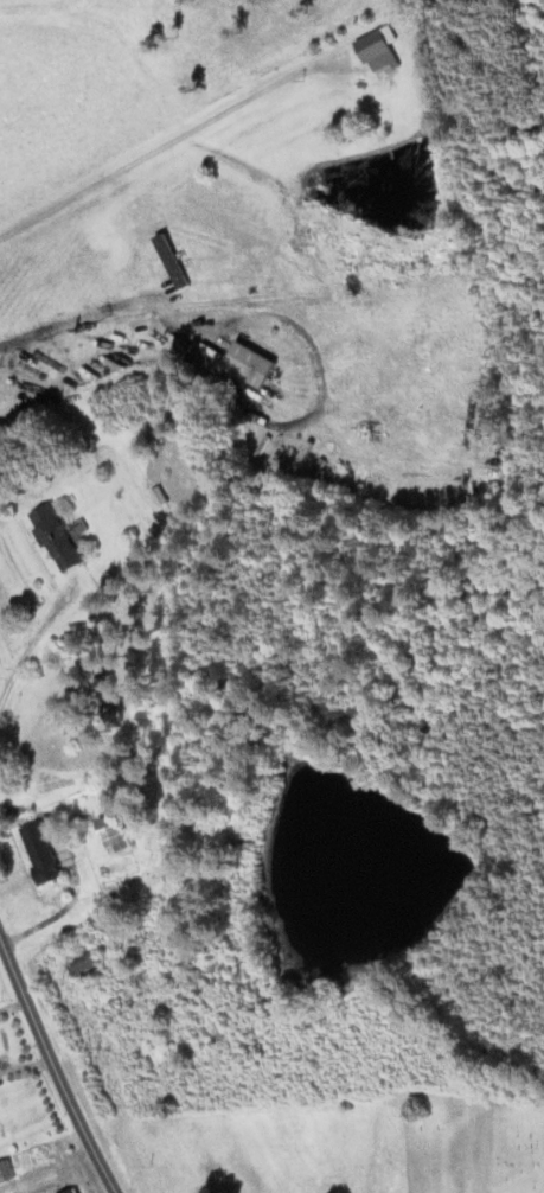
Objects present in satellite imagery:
building: (377, 51)
building: (369, 91)
road: (161, 147)
building: (212, 273)
road: (154, 283)
road: (161, 315)
road: (294, 327)
building: (252, 366)
building: (286, 460)
building: (57, 537)
road: (37, 640)
road: (30, 818)
building: (115, 836)
building: (49, 853)
road: (56, 917)
building: (89, 969)
road: (13, 1004)
road: (26, 1065)
road: (55, 1066)
building: (7, 1170)
building: (73, 1191)

